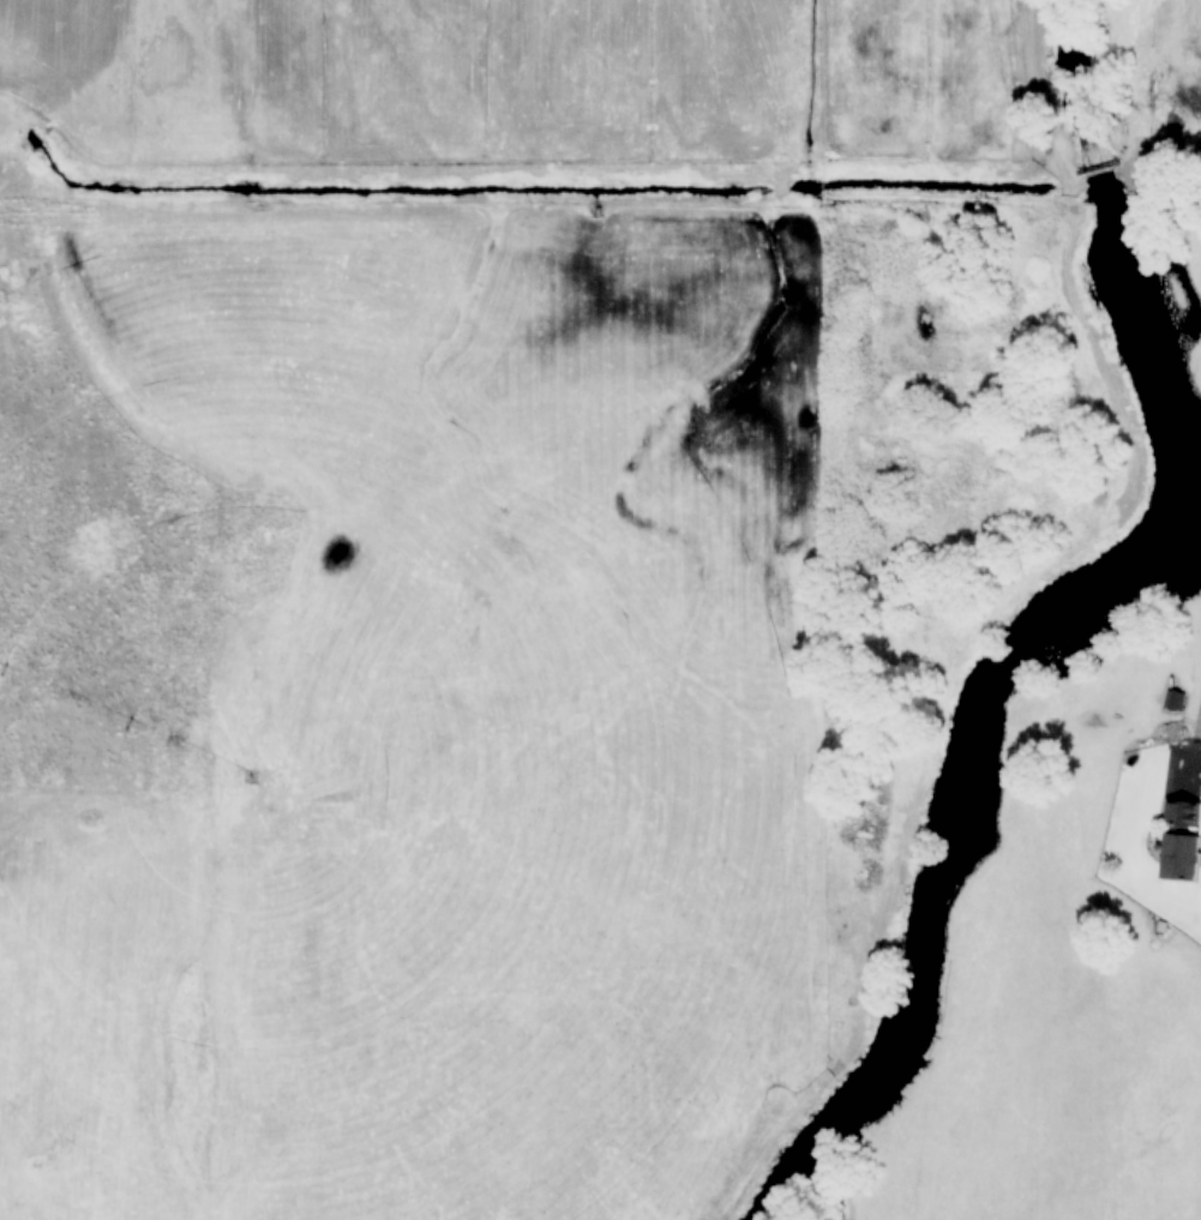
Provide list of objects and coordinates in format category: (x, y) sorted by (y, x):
building: (1092, 150)
river: (1052, 607)
building: (1175, 701)
building: (1181, 840)

